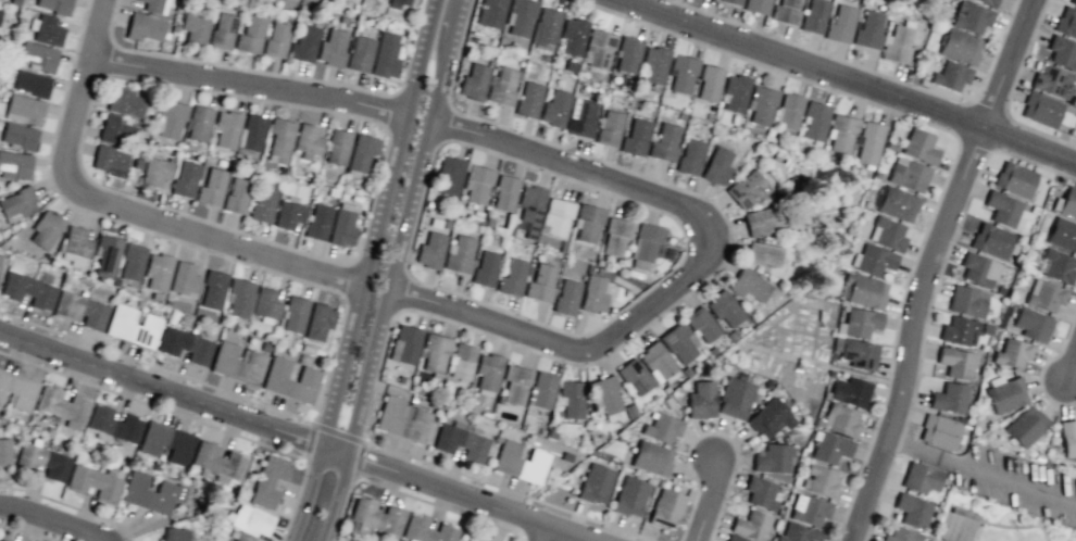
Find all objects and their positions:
building: (731, 1)
building: (989, 1)
building: (1073, 2)
building: (398, 3)
building: (53, 5)
building: (154, 5)
building: (756, 5)
building: (786, 11)
building: (0, 12)
building: (489, 13)
building: (814, 15)
building: (521, 16)
building: (971, 16)
building: (1066, 22)
building: (840, 24)
building: (547, 26)
building: (143, 27)
building: (195, 27)
building: (46, 29)
building: (868, 29)
building: (223, 30)
building: (250, 35)
building: (572, 36)
building: (276, 39)
building: (303, 43)
building: (897, 43)
road: (460, 46)
building: (959, 46)
building: (331, 48)
building: (599, 48)
building: (1062, 52)
building: (361, 53)
building: (627, 53)
building: (386, 55)
building: (37, 56)
building: (653, 64)
building: (571, 66)
road: (775, 70)
building: (681, 72)
building: (950, 76)
road: (851, 79)
building: (473, 81)
building: (1052, 81)
building: (32, 83)
building: (708, 83)
road: (245, 85)
building: (501, 87)
building: (735, 92)
building: (528, 100)
building: (125, 102)
building: (762, 103)
building: (554, 108)
building: (23, 110)
building: (789, 110)
building: (1043, 111)
building: (581, 117)
building: (171, 118)
building: (816, 119)
building: (198, 123)
building: (226, 128)
building: (608, 128)
building: (116, 129)
building: (251, 131)
building: (842, 133)
building: (18, 136)
building: (635, 137)
building: (279, 138)
building: (306, 140)
building: (664, 142)
building: (868, 143)
building: (890, 146)
building: (919, 146)
building: (337, 147)
road: (566, 148)
building: (361, 152)
building: (690, 156)
building: (110, 160)
building: (14, 165)
building: (716, 165)
building: (155, 172)
building: (876, 174)
building: (908, 174)
building: (449, 175)
building: (185, 178)
building: (1014, 178)
building: (790, 181)
building: (477, 183)
building: (211, 187)
building: (747, 190)
building: (504, 192)
building: (236, 194)
building: (17, 202)
building: (1066, 202)
building: (427, 203)
building: (263, 204)
building: (897, 204)
road: (122, 209)
building: (529, 209)
building: (1003, 210)
building: (1034, 210)
building: (288, 214)
building: (476, 215)
building: (555, 216)
road: (960, 218)
building: (761, 219)
building: (808, 219)
building: (317, 222)
building: (488, 222)
building: (587, 222)
building: (435, 223)
building: (446, 223)
road: (374, 225)
road: (399, 226)
building: (45, 228)
building: (342, 228)
building: (510, 230)
building: (887, 234)
building: (1062, 234)
building: (615, 235)
building: (76, 241)
building: (992, 241)
building: (562, 242)
building: (646, 244)
building: (561, 249)
building: (430, 250)
building: (762, 253)
building: (107, 254)
building: (459, 254)
building: (0, 255)
building: (872, 259)
building: (132, 262)
building: (598, 262)
road: (925, 265)
building: (1055, 265)
building: (485, 268)
building: (978, 268)
building: (598, 270)
road: (691, 270)
building: (158, 272)
building: (840, 272)
building: (512, 277)
building: (184, 279)
building: (539, 282)
building: (748, 285)
building: (1000, 289)
building: (28, 290)
building: (212, 290)
building: (863, 290)
building: (593, 293)
building: (1015, 294)
building: (1044, 295)
building: (565, 297)
building: (238, 298)
road: (629, 301)
building: (966, 301)
building: (266, 305)
building: (723, 307)
building: (82, 310)
building: (293, 314)
building: (318, 322)
building: (858, 322)
building: (701, 324)
building: (1031, 324)
building: (133, 326)
building: (958, 329)
building: (986, 329)
road: (1065, 335)
building: (730, 336)
building: (678, 342)
building: (836, 343)
building: (404, 344)
building: (186, 345)
road: (892, 345)
building: (711, 350)
building: (434, 352)
building: (1012, 353)
road: (605, 354)
building: (859, 354)
building: (831, 355)
building: (461, 361)
building: (955, 362)
building: (237, 363)
building: (656, 363)
road: (1069, 363)
building: (487, 370)
building: (686, 372)
building: (829, 374)
building: (739, 375)
building: (634, 376)
building: (400, 379)
building: (290, 380)
building: (721, 380)
building: (513, 383)
building: (766, 383)
building: (664, 389)
building: (17, 390)
building: (541, 390)
road: (1040, 390)
road: (158, 391)
building: (850, 391)
building: (604, 393)
building: (1005, 393)
building: (756, 394)
building: (412, 398)
building: (570, 398)
building: (735, 398)
building: (949, 398)
building: (700, 400)
building: (666, 401)
road: (1075, 402)
building: (62, 406)
building: (629, 410)
building: (390, 414)
building: (768, 418)
building: (961, 419)
building: (840, 420)
building: (113, 423)
building: (413, 424)
building: (1026, 425)
building: (661, 427)
building: (540, 431)
building: (938, 431)
building: (550, 433)
building: (1068, 437)
building: (447, 438)
building: (785, 439)
building: (166, 442)
road: (731, 442)
building: (473, 446)
building: (829, 448)
building: (4, 451)
building: (565, 456)
building: (506, 457)
building: (651, 457)
building: (1038, 457)
building: (773, 458)
road: (892, 458)
building: (43, 461)
building: (218, 462)
building: (531, 466)
road: (451, 469)
road: (979, 473)
building: (921, 478)
building: (268, 480)
building: (821, 480)
building: (95, 482)
building: (658, 482)
parking lot: (1016, 482)
building: (595, 483)
road: (454, 492)
building: (760, 492)
building: (151, 493)
road: (301, 495)
road: (330, 496)
building: (629, 496)
road: (706, 499)
road: (959, 507)
building: (665, 508)
building: (809, 509)
building: (912, 511)
building: (963, 514)
road: (687, 515)
building: (375, 517)
road: (51, 519)
road: (1038, 520)
building: (250, 523)
building: (751, 525)
park: (954, 525)
park: (948, 526)
road: (1005, 526)
park: (962, 528)
park: (967, 528)
building: (426, 530)
road: (1042, 531)
road: (539, 532)
building: (798, 533)
building: (176, 534)
building: (900, 534)
building: (735, 538)
park: (1067, 538)
building: (1, 540)
road: (678, 540)
building: (942, 540)

